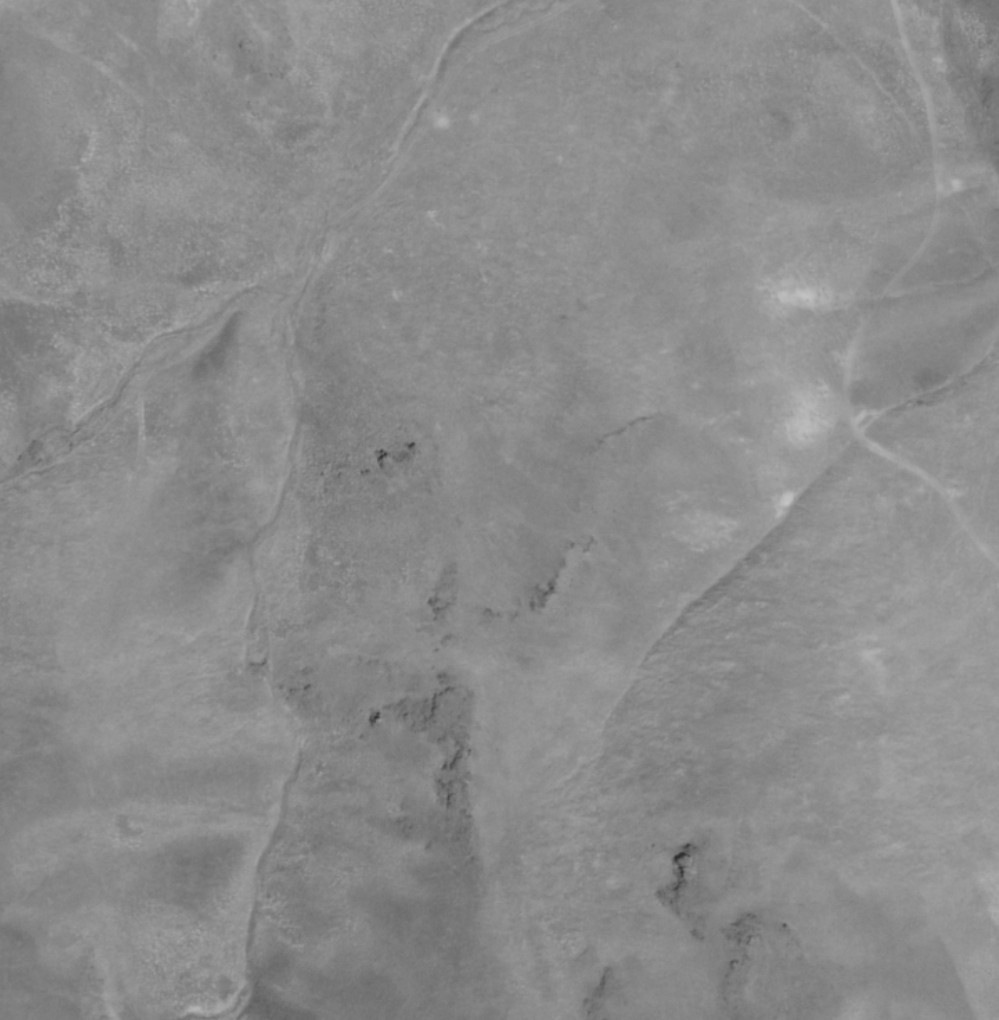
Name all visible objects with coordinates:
road: (871, 304)

